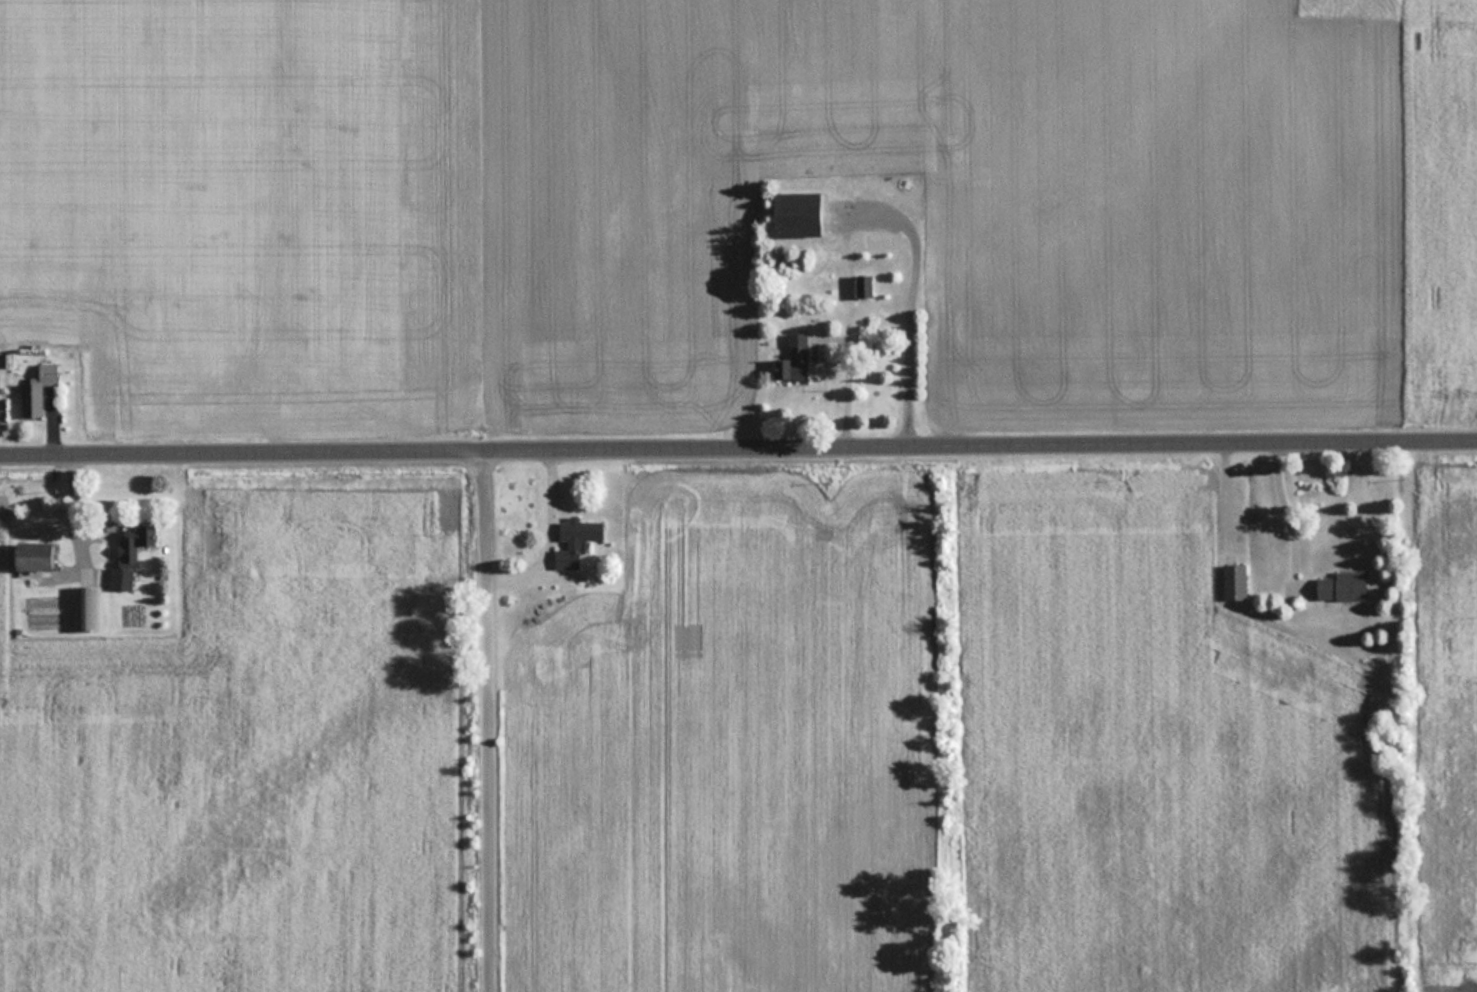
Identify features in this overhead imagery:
road: (872, 206)
building: (798, 213)
building: (865, 284)
building: (794, 357)
building: (38, 388)
road: (738, 445)
road: (1280, 508)
road: (78, 531)
building: (1268, 536)
building: (575, 539)
building: (137, 541)
building: (36, 556)
building: (121, 577)
building: (1235, 580)
building: (1343, 585)
building: (86, 607)
road: (486, 722)

